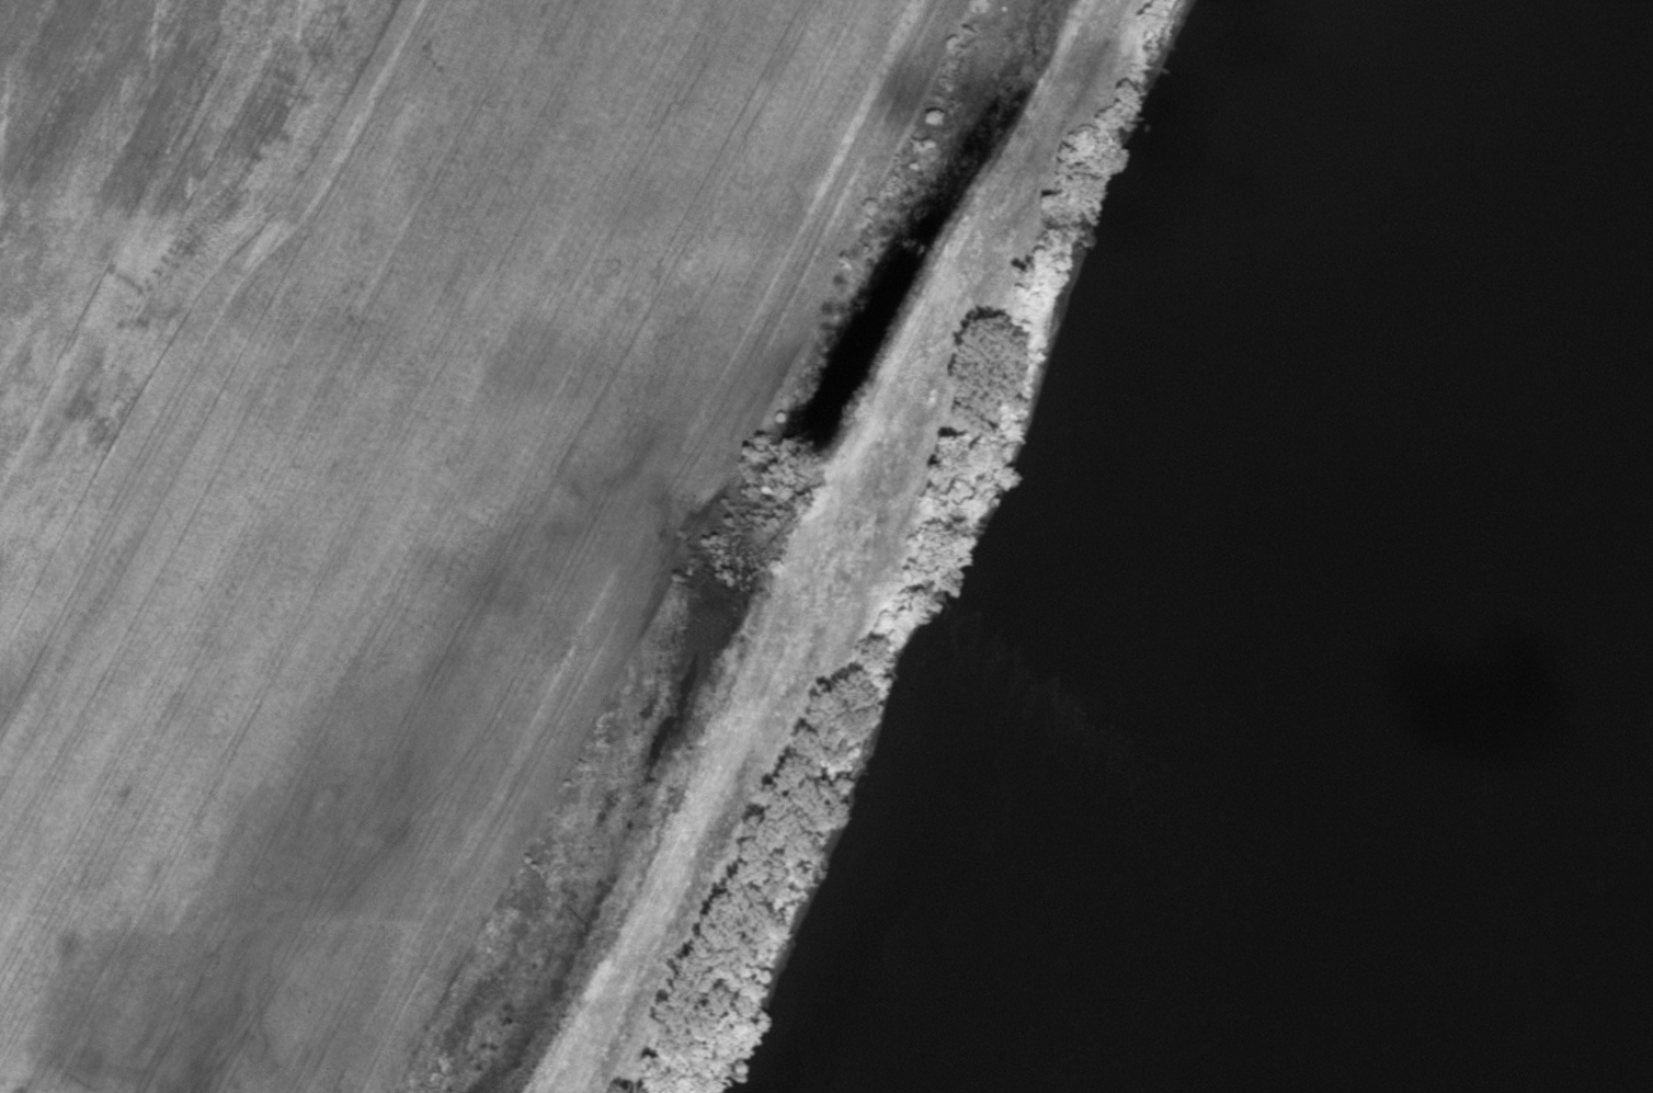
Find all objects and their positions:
river: (1378, 546)

